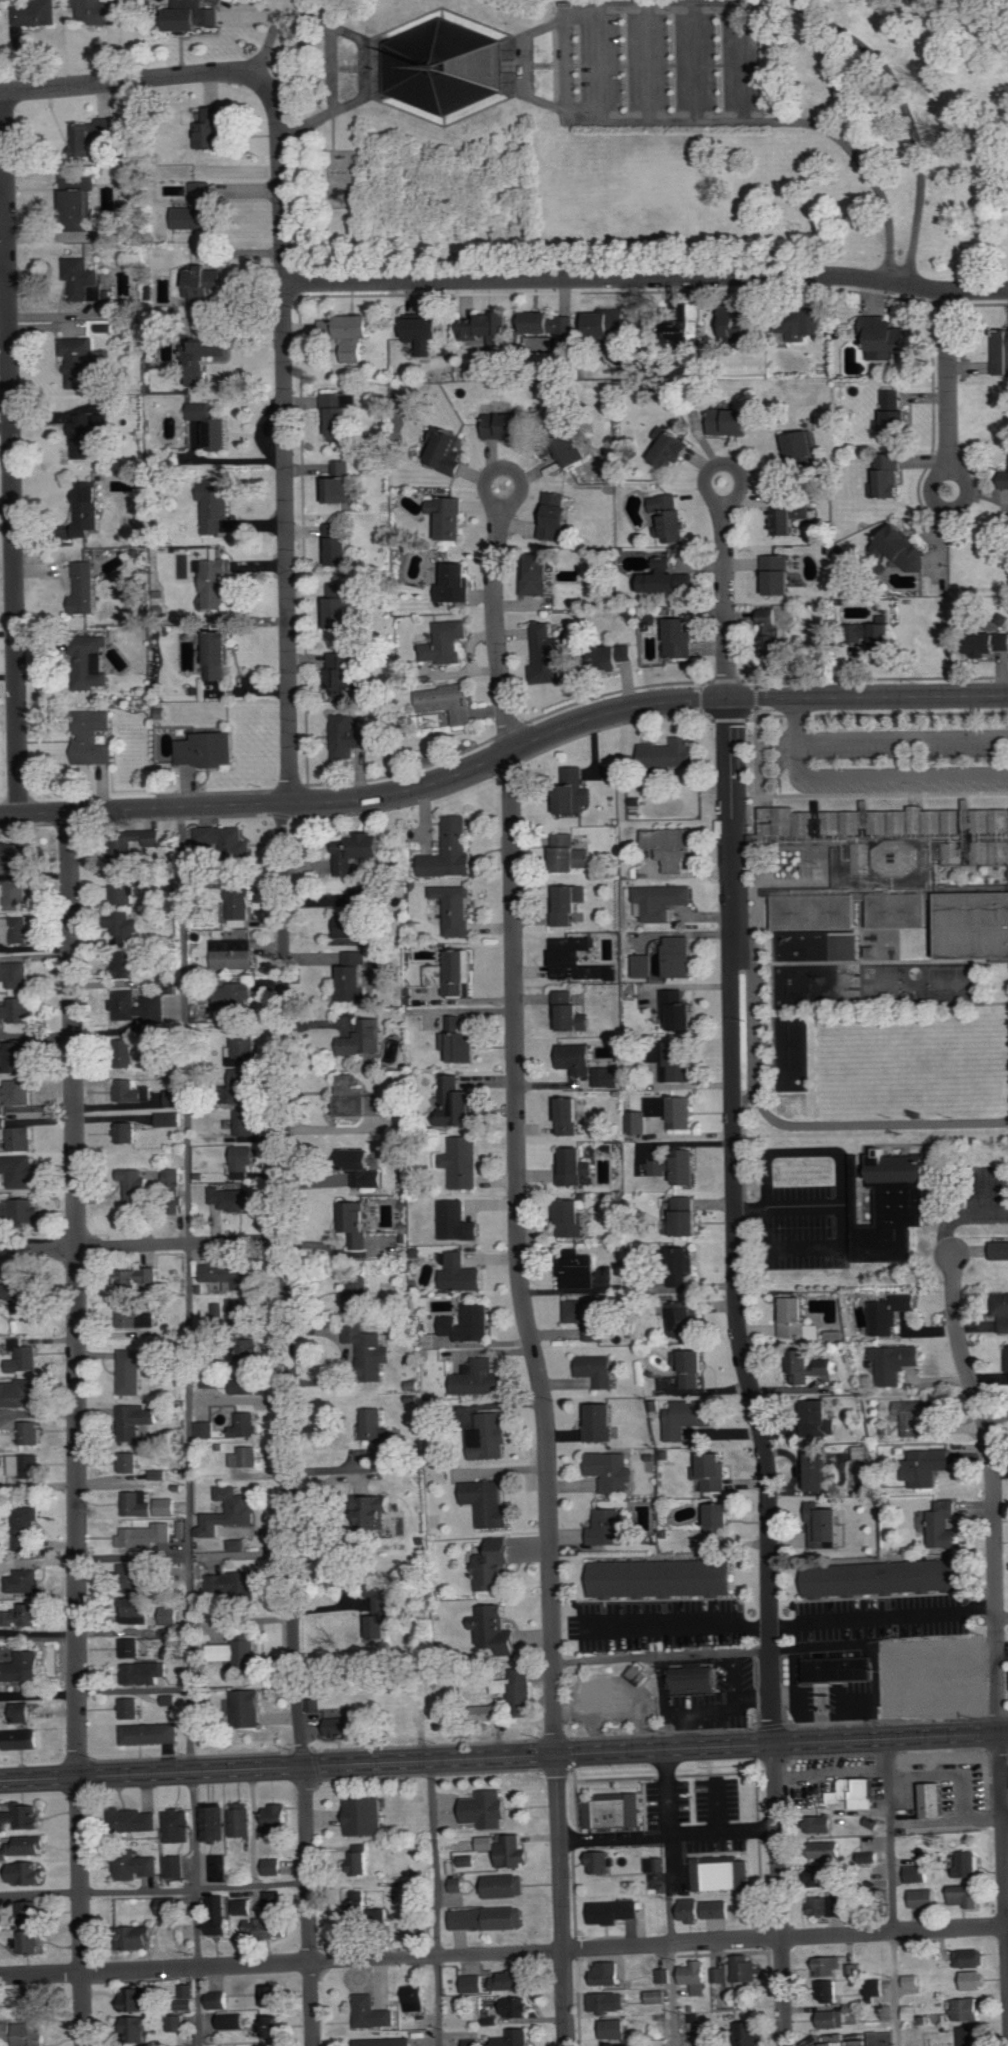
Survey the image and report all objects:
building: (221, 1)
road: (571, 2)
building: (103, 12)
building: (36, 13)
building: (194, 15)
road: (361, 40)
road: (522, 64)
building: (442, 65)
road: (333, 68)
road: (127, 81)
building: (212, 129)
building: (92, 136)
road: (281, 177)
building: (80, 201)
building: (201, 210)
building: (81, 277)
road: (646, 279)
building: (202, 286)
road: (400, 293)
building: (550, 323)
building: (608, 324)
building: (689, 324)
building: (805, 325)
building: (740, 326)
building: (330, 327)
building: (489, 328)
building: (357, 333)
building: (428, 333)
building: (885, 337)
building: (537, 344)
building: (1001, 351)
building: (203, 358)
building: (83, 361)
building: (899, 415)
building: (339, 416)
building: (733, 421)
building: (213, 423)
building: (508, 426)
building: (88, 434)
building: (195, 438)
road: (949, 439)
building: (802, 446)
building: (671, 448)
building: (447, 449)
building: (566, 449)
road: (12, 455)
building: (889, 478)
building: (343, 483)
building: (216, 505)
building: (88, 509)
building: (557, 514)
building: (790, 515)
building: (449, 517)
building: (671, 517)
road: (724, 542)
building: (339, 545)
building: (902, 548)
road: (495, 571)
building: (539, 573)
building: (779, 574)
building: (668, 578)
building: (216, 582)
building: (457, 584)
building: (85, 588)
building: (338, 607)
building: (773, 634)
building: (875, 636)
building: (681, 638)
building: (446, 642)
building: (991, 644)
building: (221, 654)
building: (547, 654)
building: (618, 655)
building: (94, 662)
building: (343, 670)
road: (649, 685)
building: (449, 702)
road: (794, 714)
road: (900, 737)
building: (349, 738)
building: (94, 739)
building: (209, 750)
road: (504, 753)
building: (670, 754)
road: (880, 776)
building: (576, 790)
building: (227, 840)
building: (371, 845)
building: (138, 847)
building: (673, 847)
building: (451, 852)
building: (571, 854)
building: (15, 855)
building: (346, 859)
building: (897, 873)
building: (123, 889)
building: (14, 896)
building: (663, 901)
building: (570, 904)
building: (240, 907)
building: (454, 908)
building: (356, 918)
building: (126, 928)
building: (14, 930)
building: (233, 954)
building: (680, 957)
building: (575, 959)
building: (129, 964)
building: (645, 966)
building: (456, 973)
building: (16, 974)
building: (355, 977)
park: (956, 983)
building: (234, 1000)
building: (140, 1008)
building: (680, 1010)
building: (18, 1011)
building: (572, 1013)
road: (752, 1025)
road: (37, 1034)
building: (364, 1039)
building: (165, 1040)
building: (460, 1041)
building: (242, 1046)
building: (124, 1052)
building: (17, 1056)
building: (576, 1059)
park: (912, 1061)
building: (680, 1063)
building: (609, 1078)
building: (244, 1086)
building: (18, 1093)
building: (132, 1093)
building: (173, 1099)
building: (360, 1099)
building: (458, 1103)
building: (3, 1109)
building: (665, 1114)
building: (572, 1117)
building: (171, 1120)
building: (246, 1122)
road: (872, 1123)
building: (3, 1124)
building: (128, 1133)
building: (22, 1140)
building: (243, 1161)
building: (464, 1163)
road: (286, 1165)
building: (676, 1167)
building: (576, 1168)
building: (365, 1169)
building: (20, 1171)
building: (173, 1178)
building: (138, 1188)
building: (232, 1199)
building: (887, 1204)
road: (845, 1208)
road: (805, 1209)
building: (25, 1210)
building: (689, 1218)
building: (574, 1219)
building: (458, 1222)
road: (735, 1222)
building: (357, 1224)
road: (143, 1246)
building: (1000, 1250)
road: (517, 1254)
building: (685, 1267)
building: (580, 1270)
building: (461, 1274)
building: (232, 1275)
building: (137, 1279)
building: (356, 1293)
building: (21, 1295)
building: (218, 1309)
building: (242, 1310)
building: (1004, 1311)
building: (891, 1313)
building: (588, 1316)
building: (136, 1317)
building: (687, 1318)
building: (797, 1319)
building: (470, 1323)
building: (247, 1349)
building: (370, 1350)
building: (1007, 1352)
building: (24, 1356)
building: (895, 1362)
building: (692, 1365)
building: (811, 1366)
building: (598, 1369)
building: (131, 1371)
building: (213, 1378)
building: (479, 1378)
building: (246, 1382)
building: (19, 1393)
building: (916, 1414)
building: (689, 1417)
building: (820, 1417)
building: (137, 1420)
building: (600, 1421)
building: (248, 1424)
road: (190, 1427)
road: (78, 1429)
building: (206, 1429)
building: (32, 1432)
building: (378, 1433)
building: (492, 1434)
building: (860, 1452)
building: (247, 1456)
building: (130, 1462)
building: (27, 1465)
building: (926, 1466)
building: (613, 1470)
building: (821, 1470)
building: (713, 1471)
building: (160, 1474)
building: (489, 1502)
building: (138, 1503)
building: (166, 1507)
building: (231, 1511)
building: (388, 1521)
building: (722, 1521)
building: (943, 1524)
building: (27, 1526)
building: (826, 1526)
building: (612, 1528)
building: (145, 1536)
building: (239, 1544)
building: (496, 1564)
building: (138, 1576)
building: (886, 1577)
building: (663, 1578)
building: (26, 1581)
building: (234, 1582)
road: (996, 1607)
building: (138, 1610)
building: (385, 1613)
building: (23, 1616)
building: (171, 1616)
road: (883, 1616)
building: (495, 1626)
road: (678, 1627)
building: (131, 1648)
building: (237, 1653)
building: (836, 1654)
road: (663, 1655)
building: (22, 1667)
building: (842, 1669)
building: (145, 1672)
building: (641, 1674)
building: (694, 1679)
building: (518, 1689)
building: (170, 1700)
building: (132, 1708)
building: (249, 1708)
building: (22, 1712)
building: (493, 1712)
building: (340, 1727)
building: (151, 1733)
building: (23, 1739)
road: (504, 1757)
road: (1004, 1774)
building: (857, 1793)
building: (935, 1799)
building: (487, 1809)
building: (616, 1810)
road: (1005, 1815)
building: (280, 1816)
building: (366, 1816)
building: (22, 1817)
building: (137, 1820)
building: (243, 1820)
building: (214, 1823)
building: (820, 1824)
building: (179, 1826)
road: (1005, 1826)
road: (668, 1836)
building: (488, 1843)
building: (28, 1845)
building: (827, 1849)
building: (515, 1852)
building: (360, 1859)
building: (467, 1861)
building: (602, 1862)
building: (657, 1864)
building: (967, 1864)
building: (136, 1866)
building: (274, 1866)
building: (176, 1867)
building: (220, 1868)
building: (26, 1873)
building: (723, 1874)
building: (918, 1874)
building: (824, 1877)
building: (507, 1885)
road: (154, 1888)
road: (891, 1892)
road: (779, 1895)
building: (966, 1895)
building: (924, 1897)
road: (669, 1898)
road: (562, 1900)
building: (276, 1901)
road: (435, 1903)
building: (170, 1906)
building: (827, 1906)
building: (244, 1907)
building: (362, 1907)
building: (719, 1909)
building: (691, 1910)
building: (615, 1911)
building: (31, 1912)
building: (219, 1914)
building: (490, 1919)
building: (265, 1927)
building: (139, 1937)
building: (32, 1941)
road: (504, 1953)
building: (970, 1958)
building: (828, 1966)
building: (747, 1968)
building: (856, 1969)
building: (609, 1973)
building: (665, 1975)
building: (719, 1975)
building: (696, 1976)
building: (975, 1980)
building: (512, 1981)
building: (913, 1981)
building: (473, 1984)
building: (877, 1987)
building: (829, 1989)
building: (188, 1994)
building: (274, 1996)
building: (656, 1997)
building: (417, 1998)
building: (139, 1999)
building: (221, 2000)
building: (609, 2002)
building: (36, 2003)
building: (518, 2007)
building: (967, 2009)
building: (373, 2012)
building: (914, 2015)
building: (492, 2017)
building: (832, 2019)
building: (233, 2021)
building: (177, 2023)
building: (271, 2026)
building: (137, 2029)
building: (613, 2029)
building: (32, 2034)
building: (753, 2034)
building: (971, 2036)
building: (515, 2038)
building: (386, 2042)
building: (473, 2042)
building: (277, 2045)
building: (618, 2045)
building: (707, 2045)

